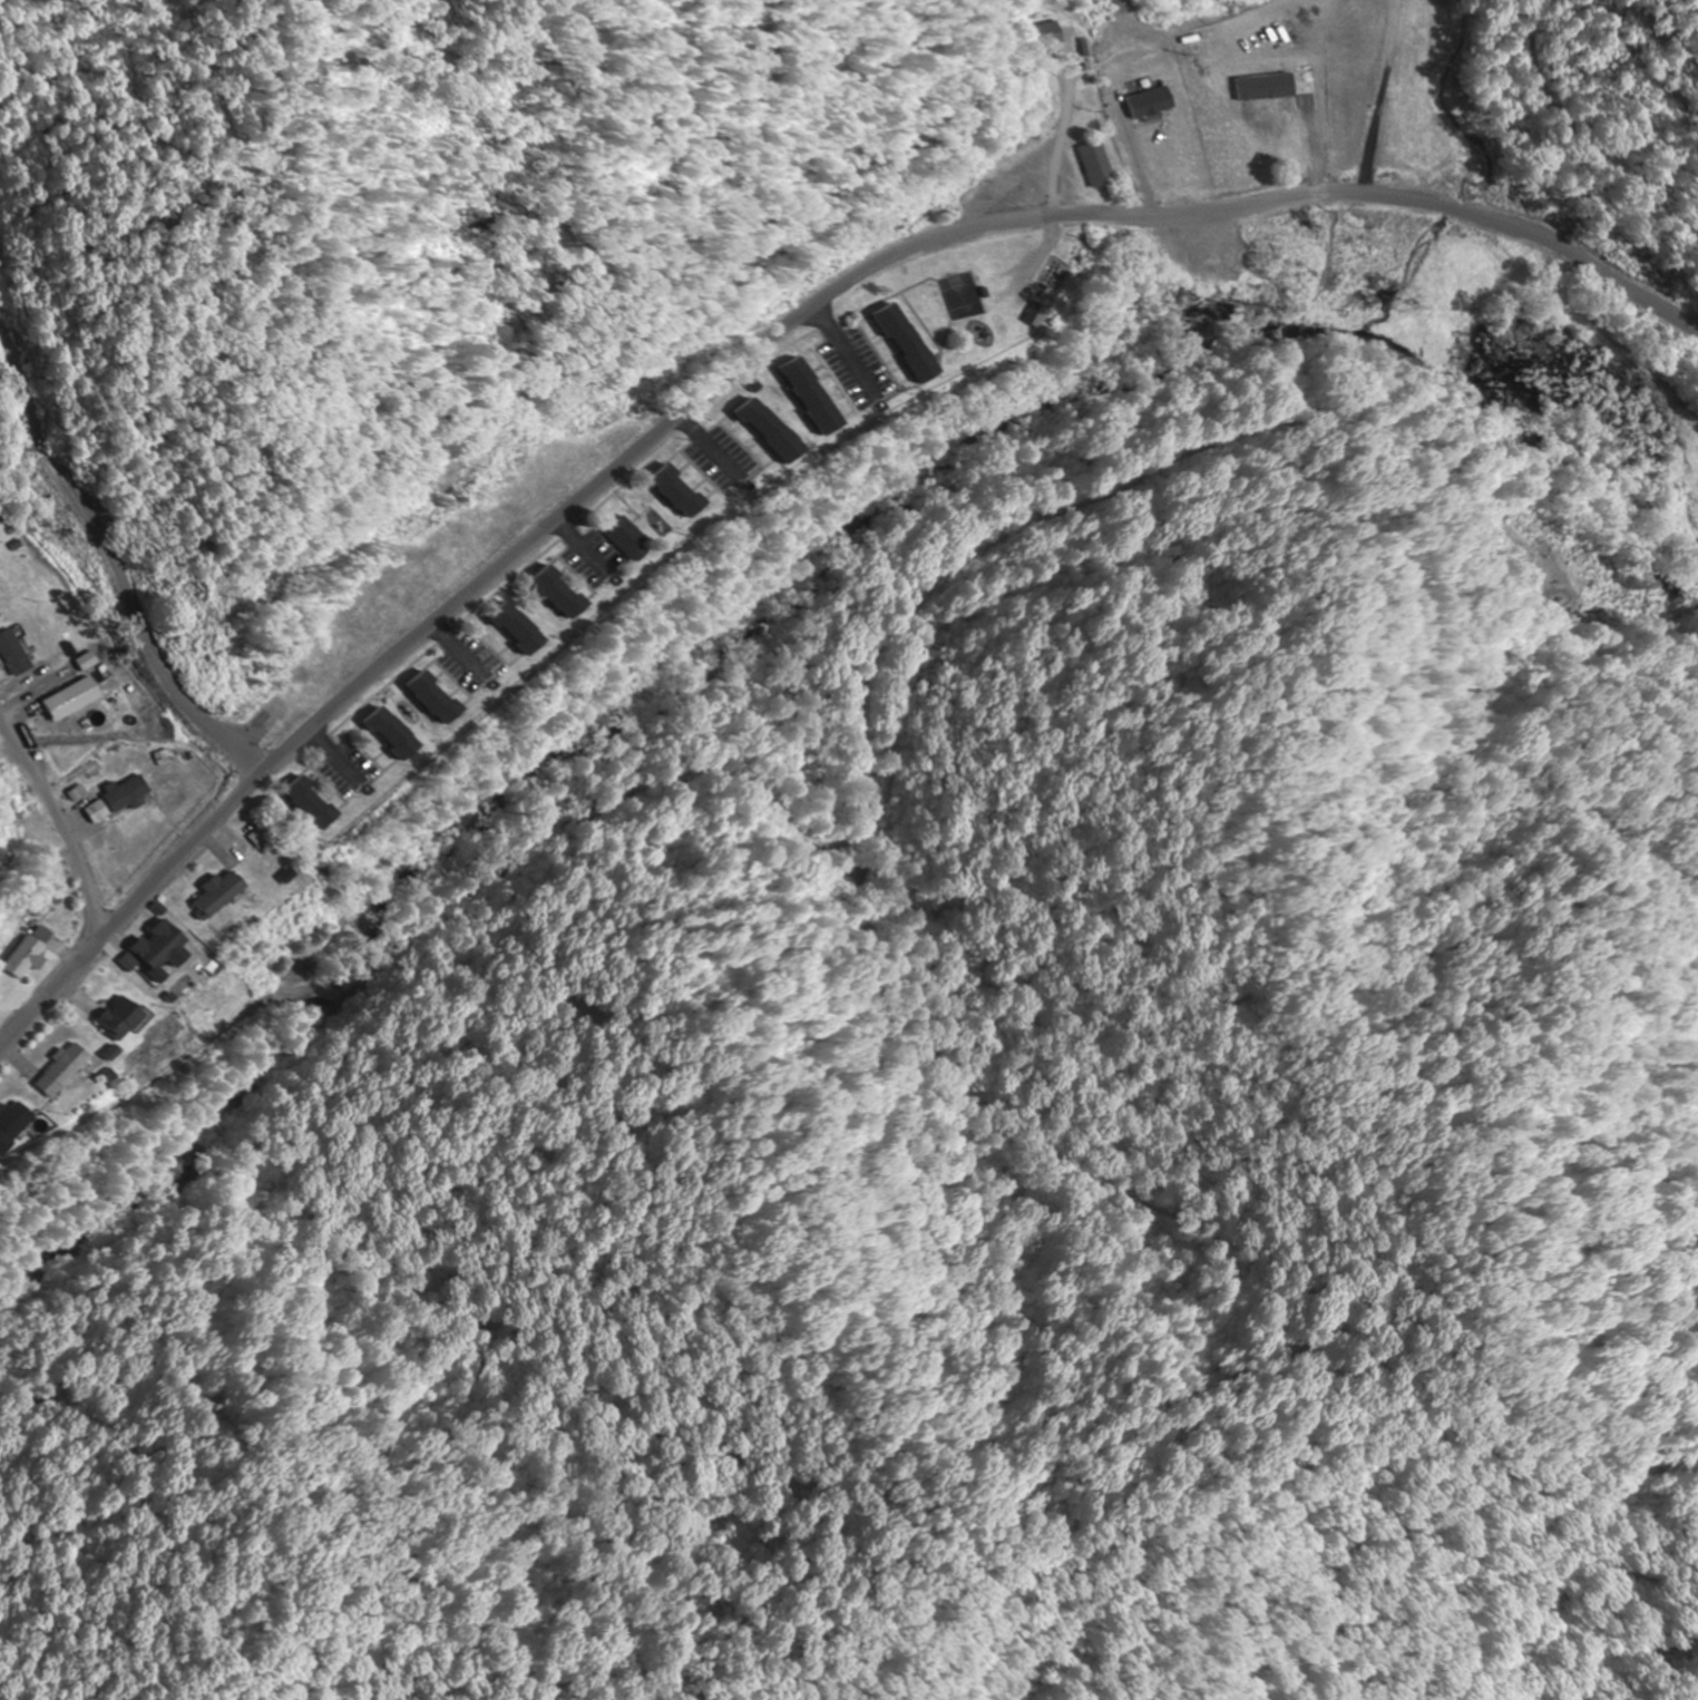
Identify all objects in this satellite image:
building: (1044, 36)
road: (1375, 107)
building: (1087, 165)
building: (886, 343)
road: (749, 362)
building: (792, 395)
building: (750, 429)
building: (661, 491)
building: (613, 538)
building: (540, 594)
building: (498, 628)
building: (418, 698)
road: (195, 721)
building: (375, 733)
building: (293, 803)
road: (57, 833)
building: (221, 895)
building: (160, 946)
building: (31, 958)
building: (120, 1018)
building: (62, 1069)
building: (12, 1123)

